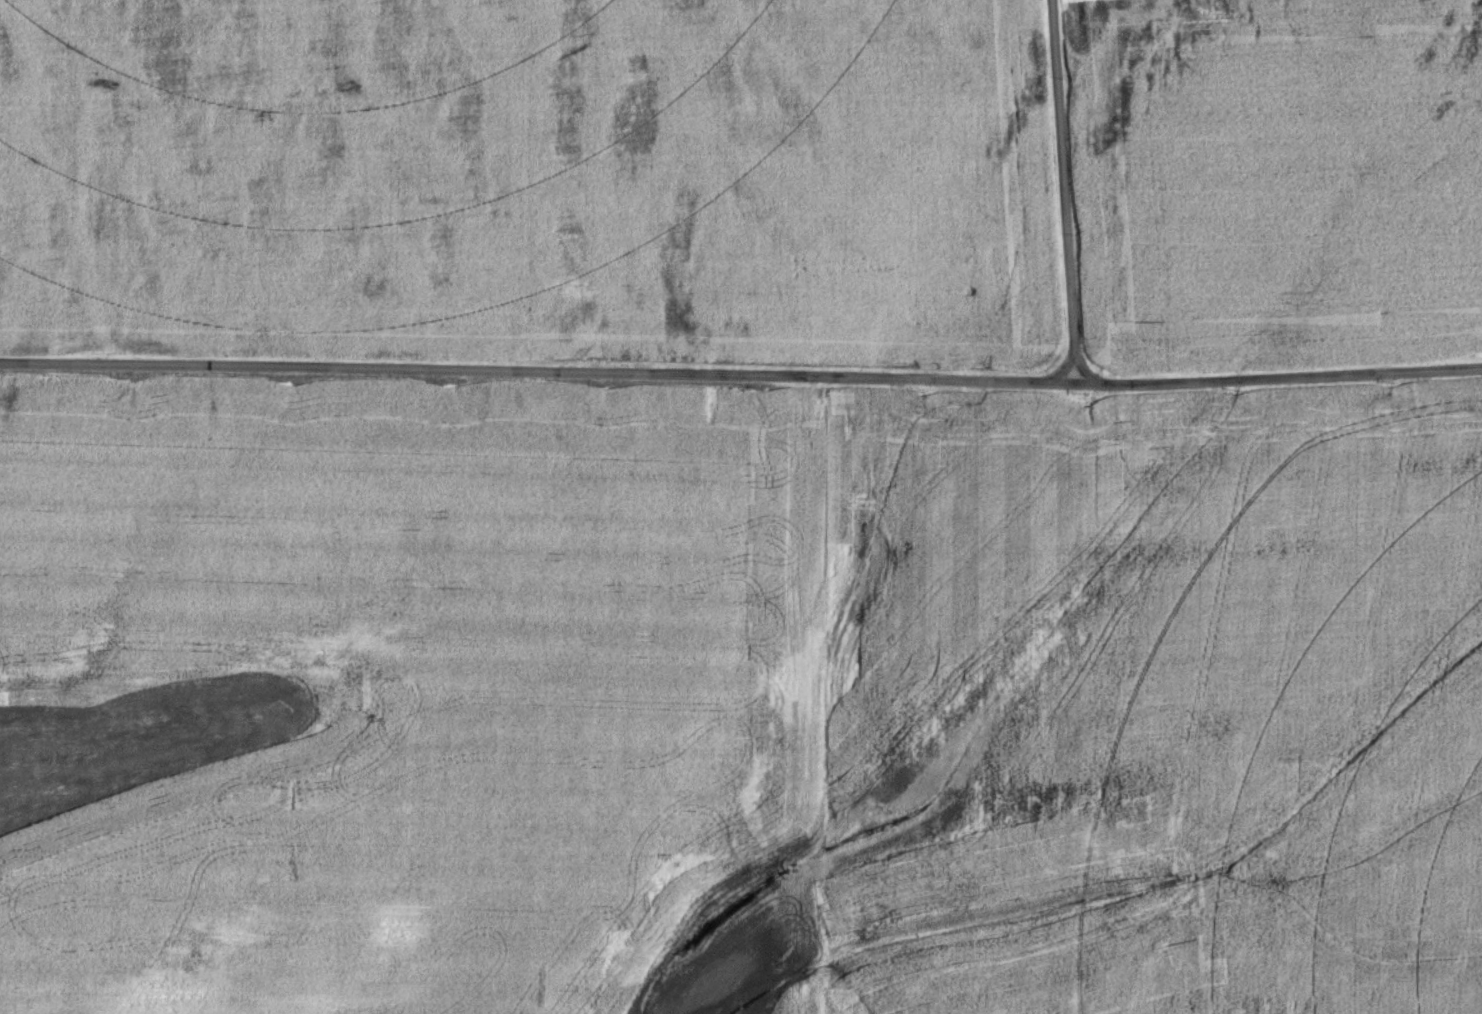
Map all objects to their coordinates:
road: (1062, 190)
road: (537, 370)
road: (1278, 377)

